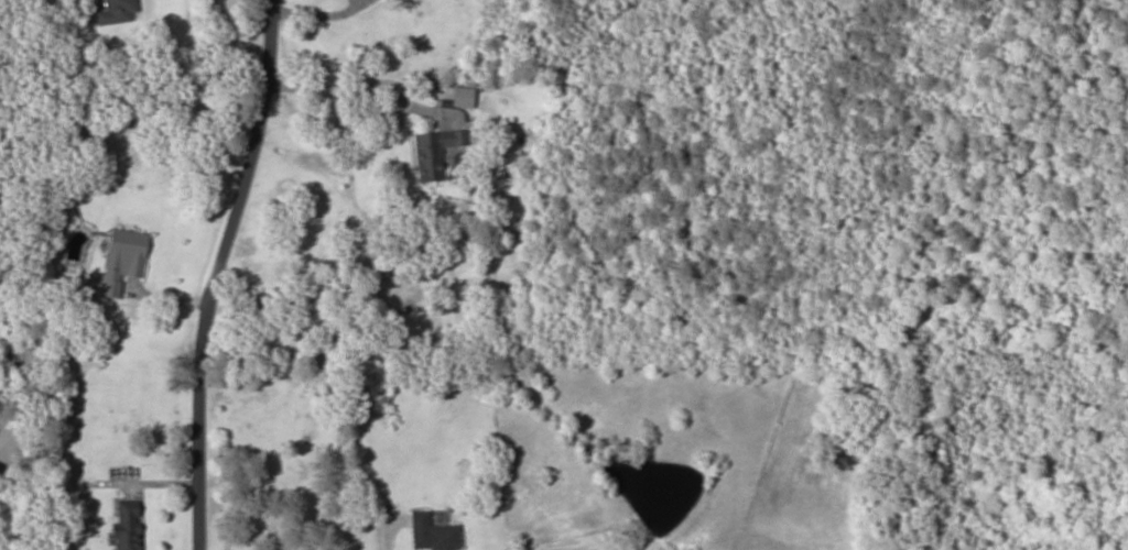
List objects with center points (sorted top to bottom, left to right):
building: (115, 12)
building: (460, 97)
building: (434, 152)
building: (121, 258)
road: (213, 272)
building: (127, 526)
building: (431, 533)

